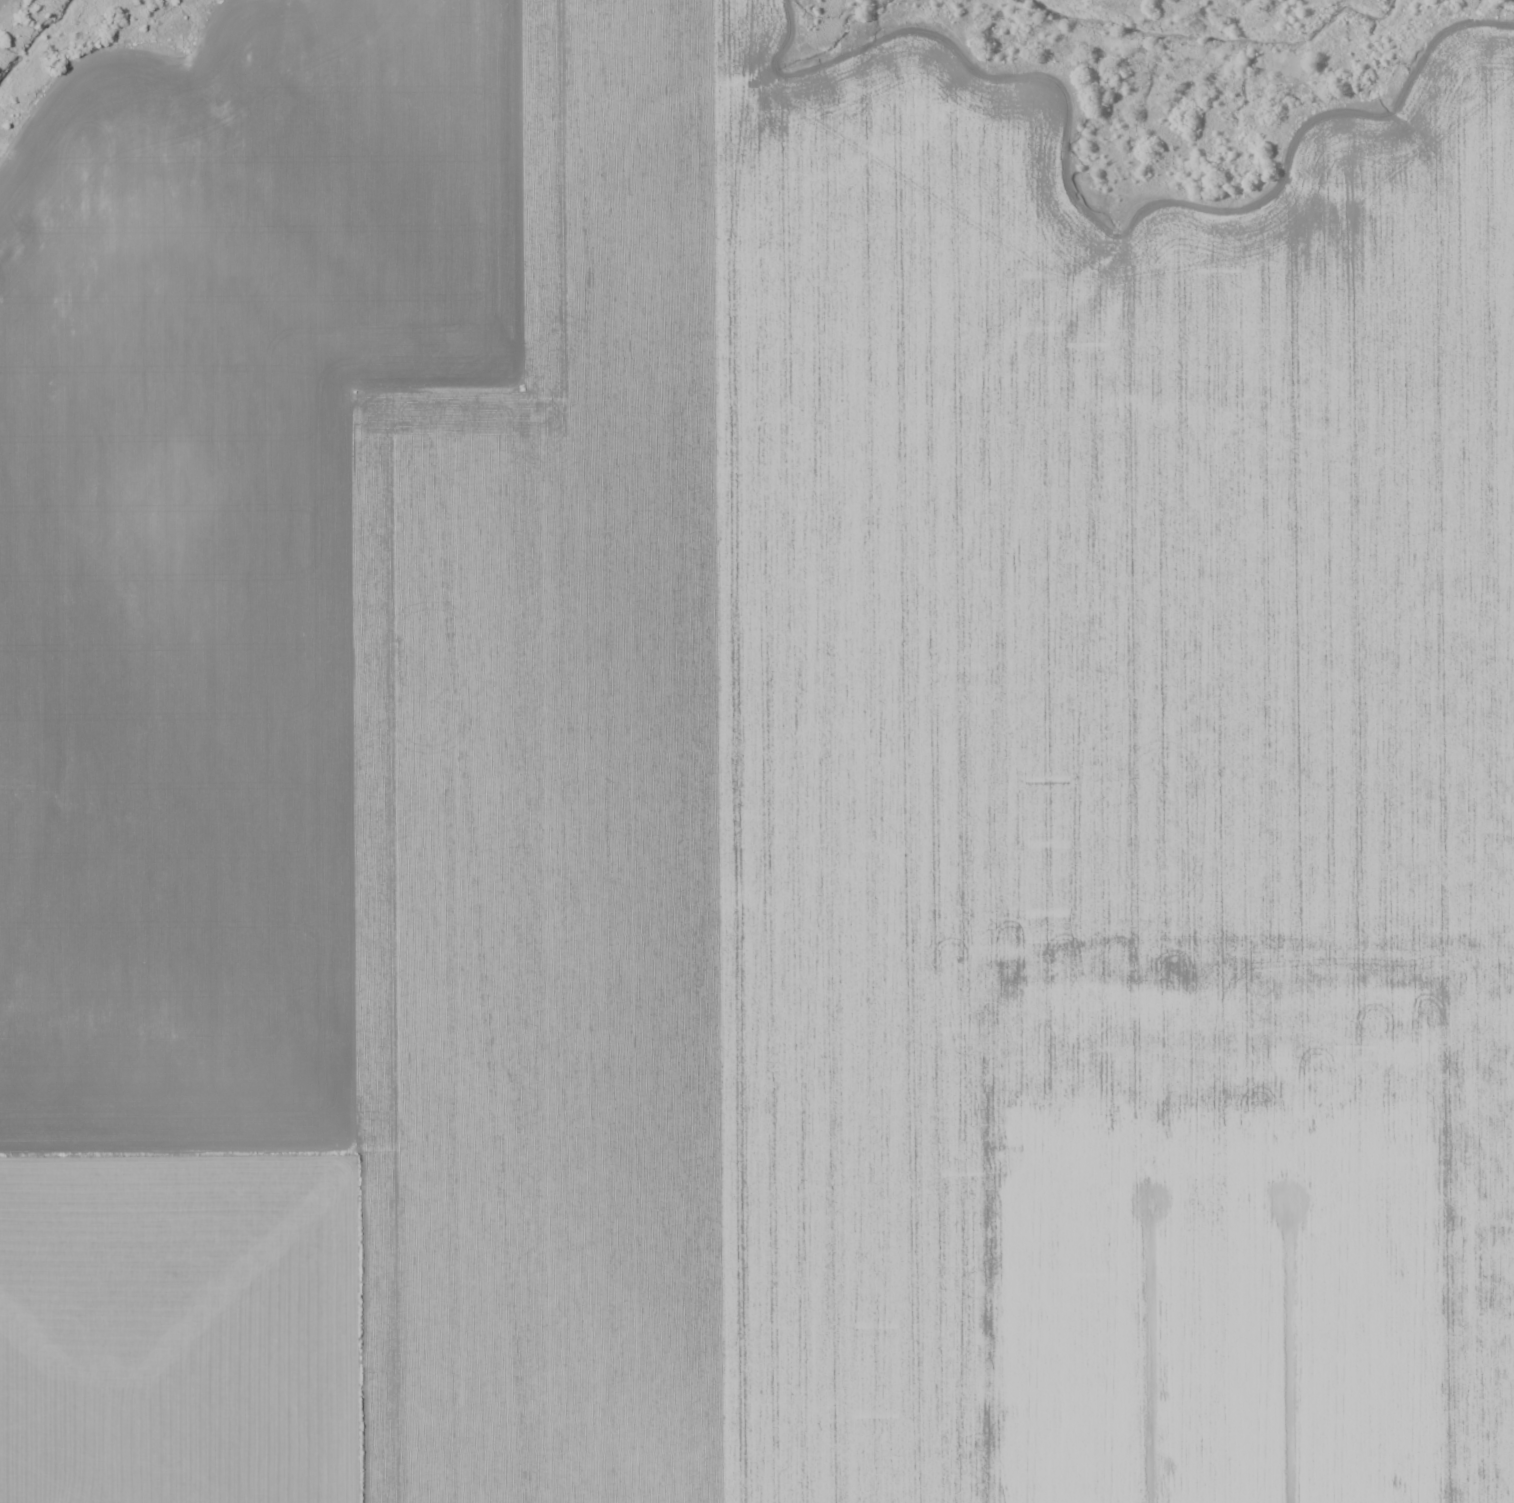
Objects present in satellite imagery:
building: (1152, 1207)

